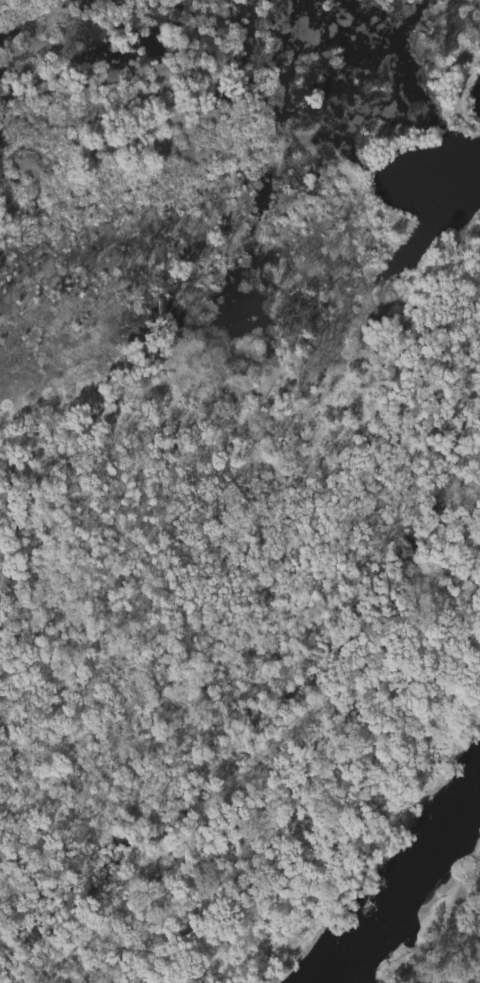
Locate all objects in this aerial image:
river: (395, 881)

